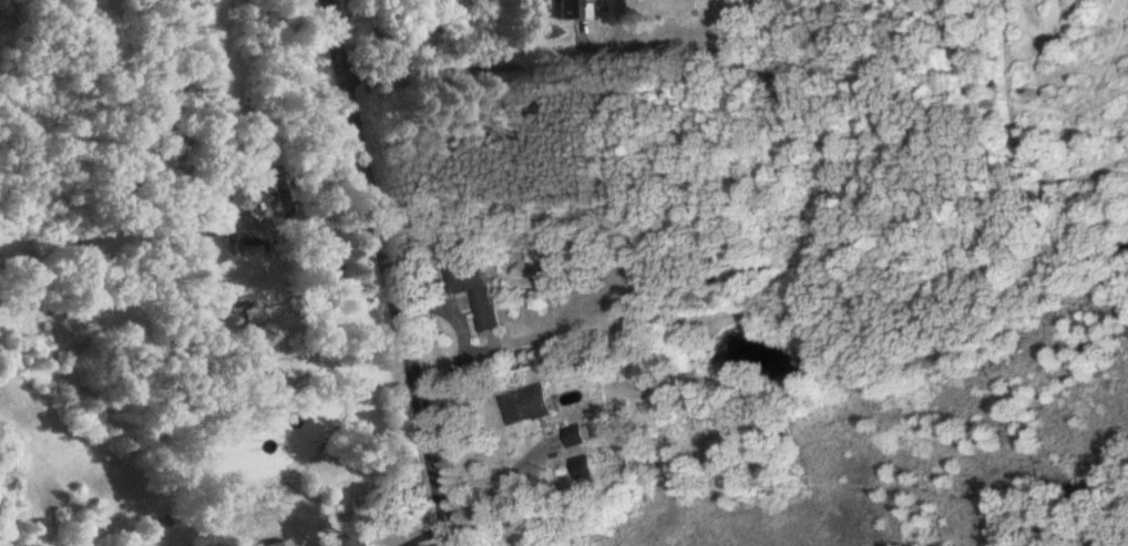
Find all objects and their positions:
building: (571, 10)
road: (503, 66)
building: (284, 192)
building: (230, 195)
building: (208, 244)
road: (392, 272)
building: (328, 278)
building: (470, 288)
building: (527, 408)
building: (578, 439)
building: (588, 471)
building: (359, 511)
road: (428, 535)
building: (284, 545)

